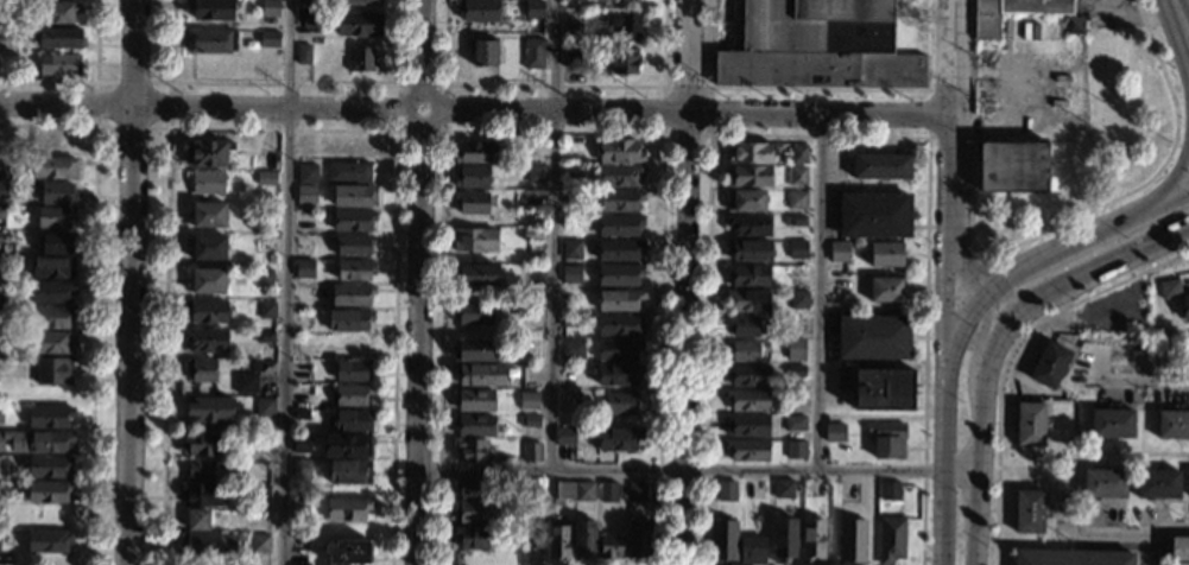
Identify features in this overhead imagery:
building: (356, 0)
building: (210, 8)
building: (268, 8)
building: (535, 8)
building: (479, 9)
building: (53, 11)
building: (1011, 12)
road: (1183, 12)
building: (310, 19)
building: (625, 23)
building: (356, 24)
building: (1075, 25)
building: (573, 28)
building: (58, 37)
building: (267, 37)
building: (209, 40)
building: (818, 46)
building: (485, 52)
building: (532, 52)
building: (302, 53)
building: (573, 57)
building: (360, 58)
road: (953, 58)
building: (624, 59)
building: (57, 64)
road: (89, 82)
road: (284, 82)
road: (554, 84)
road: (865, 89)
road: (476, 107)
road: (97, 126)
road: (282, 128)
road: (442, 131)
road: (551, 132)
road: (663, 133)
road: (816, 134)
road: (928, 135)
road: (1181, 144)
building: (374, 146)
building: (254, 147)
building: (620, 151)
building: (475, 152)
building: (748, 152)
building: (205, 153)
building: (797, 154)
building: (571, 157)
building: (0, 163)
building: (883, 166)
building: (1012, 166)
building: (52, 167)
building: (573, 171)
building: (348, 172)
building: (306, 173)
building: (535, 173)
building: (619, 174)
building: (472, 176)
building: (750, 176)
building: (797, 176)
road: (1181, 176)
building: (265, 178)
building: (207, 182)
building: (2, 190)
building: (57, 193)
building: (304, 193)
road: (1182, 195)
building: (353, 196)
building: (571, 196)
building: (620, 199)
building: (744, 201)
building: (796, 201)
building: (473, 202)
road: (1098, 205)
building: (1, 212)
building: (208, 212)
building: (304, 215)
building: (875, 215)
building: (55, 216)
building: (265, 218)
building: (352, 220)
building: (795, 221)
building: (569, 222)
building: (619, 224)
building: (750, 226)
road: (954, 226)
building: (531, 234)
road: (552, 235)
building: (1, 236)
building: (474, 240)
building: (57, 243)
building: (353, 245)
road: (1079, 245)
building: (208, 247)
building: (796, 249)
building: (571, 250)
building: (619, 250)
building: (750, 250)
building: (839, 250)
building: (886, 254)
road: (1095, 264)
building: (51, 267)
building: (303, 268)
building: (355, 269)
building: (795, 271)
building: (619, 274)
building: (747, 274)
building: (475, 275)
building: (529, 275)
road: (955, 277)
building: (263, 278)
building: (570, 279)
building: (208, 280)
road: (131, 281)
road: (684, 281)
road: (287, 282)
road: (420, 282)
building: (839, 286)
building: (0, 287)
building: (885, 288)
building: (1169, 290)
building: (50, 292)
building: (267, 292)
road: (820, 293)
building: (350, 294)
road: (93, 297)
road: (949, 298)
building: (619, 299)
building: (748, 299)
building: (798, 299)
building: (1184, 307)
building: (265, 310)
building: (205, 311)
building: (473, 312)
building: (0, 313)
building: (48, 318)
building: (348, 319)
building: (568, 322)
building: (619, 325)
building: (744, 326)
building: (772, 326)
building: (263, 337)
building: (872, 337)
building: (0, 338)
building: (203, 341)
building: (49, 343)
building: (347, 344)
building: (570, 349)
building: (795, 349)
building: (616, 351)
building: (742, 351)
building: (473, 353)
building: (1050, 364)
building: (264, 368)
building: (198, 370)
building: (349, 370)
building: (50, 372)
building: (793, 372)
building: (478, 375)
building: (529, 375)
building: (616, 375)
building: (745, 375)
road: (1143, 380)
building: (244, 385)
building: (1, 387)
building: (881, 389)
building: (349, 395)
building: (472, 400)
building: (746, 400)
building: (793, 400)
building: (526, 402)
building: (619, 405)
building: (263, 407)
building: (208, 410)
building: (1, 415)
building: (298, 415)
building: (46, 417)
building: (348, 420)
building: (526, 421)
road: (943, 423)
building: (1112, 423)
building: (1172, 423)
building: (792, 424)
building: (1031, 424)
building: (472, 425)
building: (745, 425)
building: (835, 432)
building: (563, 436)
road: (980, 438)
building: (616, 439)
building: (887, 439)
building: (39, 442)
building: (301, 444)
building: (344, 445)
building: (198, 446)
building: (745, 449)
building: (797, 449)
building: (470, 450)
building: (530, 453)
building: (0, 457)
building: (46, 466)
building: (299, 469)
building: (198, 470)
road: (697, 471)
building: (346, 474)
building: (1103, 484)
building: (1157, 484)
building: (469, 488)
building: (750, 489)
building: (780, 489)
building: (558, 490)
building: (45, 491)
building: (526, 491)
building: (582, 491)
building: (634, 491)
building: (726, 491)
building: (891, 491)
building: (607, 493)
building: (201, 494)
building: (258, 497)
building: (297, 508)
building: (344, 509)
building: (539, 510)
building: (473, 512)
building: (1029, 512)
building: (196, 520)
road: (1124, 529)
building: (682, 535)
building: (470, 538)
building: (581, 539)
building: (531, 540)
building: (637, 540)
building: (782, 540)
building: (852, 540)
building: (891, 540)
building: (46, 541)
building: (811, 541)
building: (198, 542)
building: (556, 542)
building: (723, 542)
building: (258, 544)
building: (608, 547)
building: (1179, 548)
building: (751, 551)
building: (347, 552)
building: (1070, 557)

